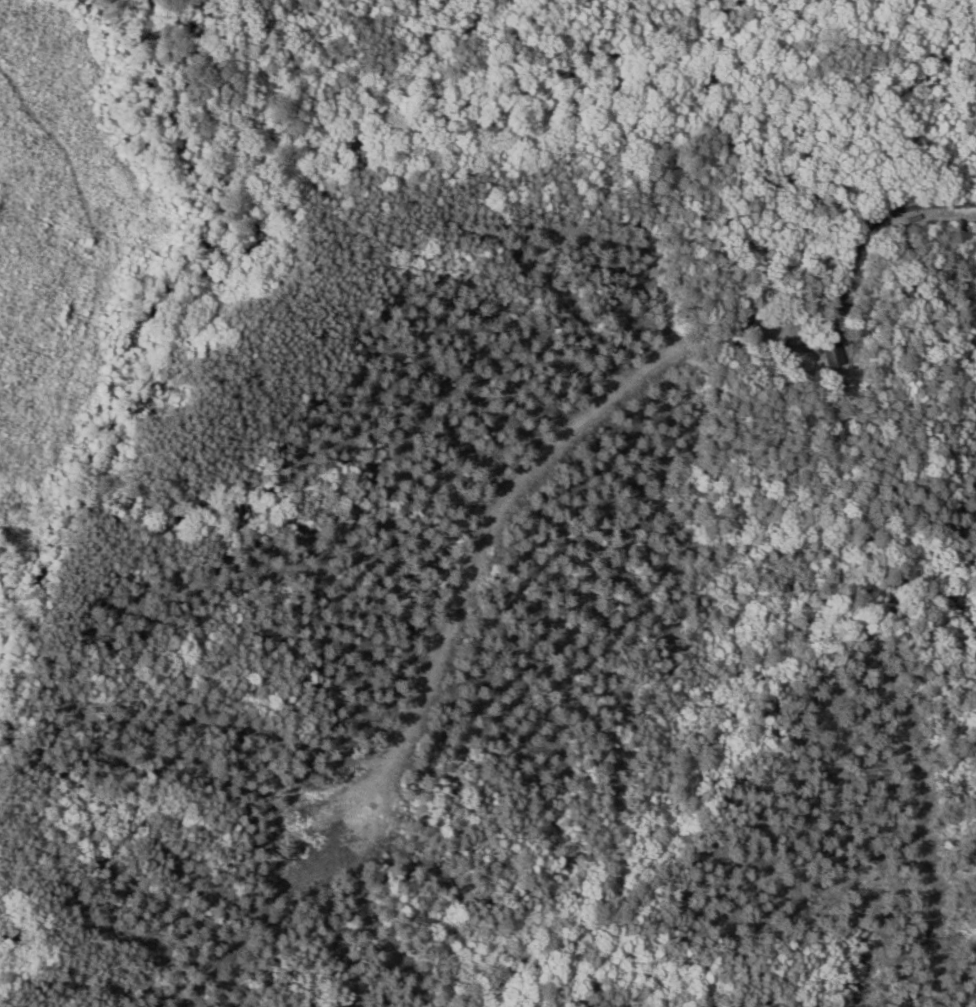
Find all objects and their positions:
road: (875, 228)
building: (779, 349)

